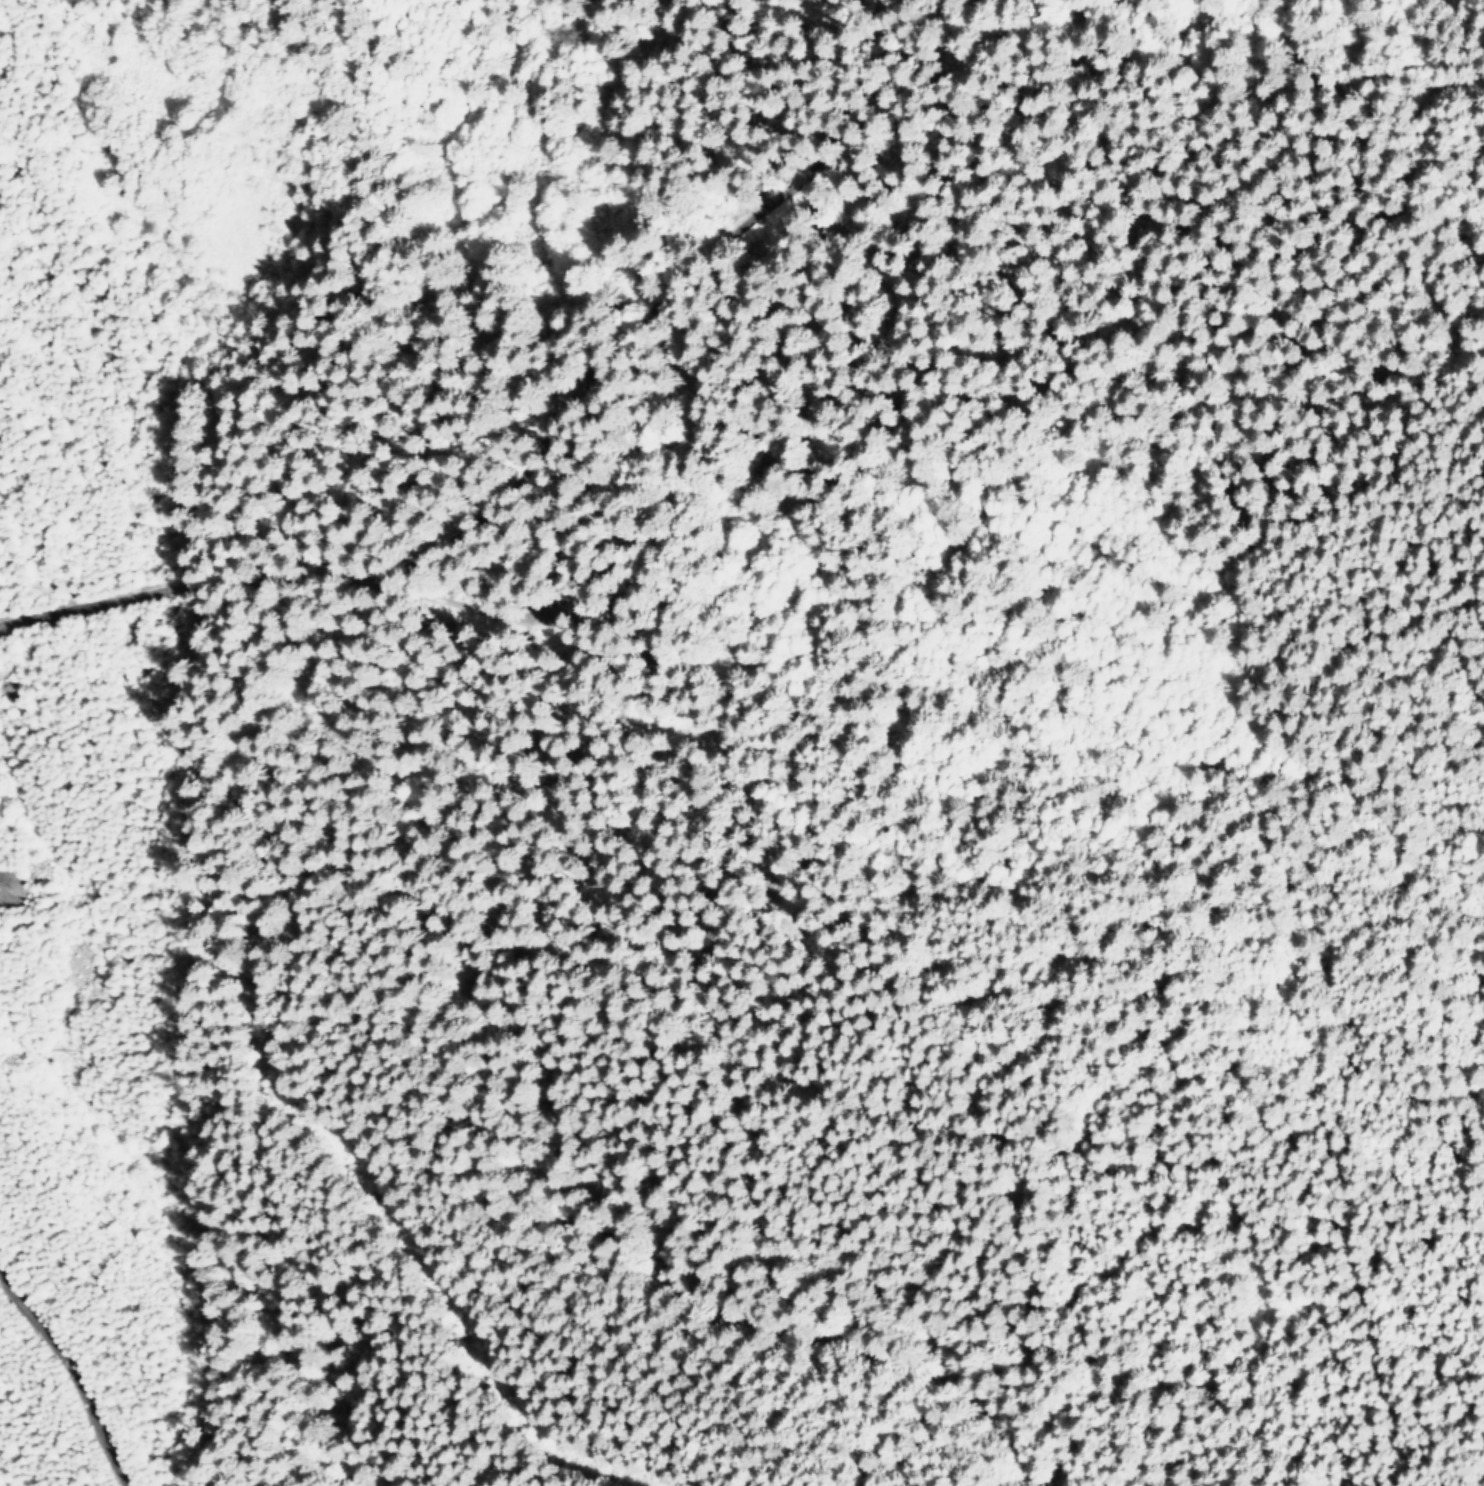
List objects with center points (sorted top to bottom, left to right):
road: (462, 414)
road: (572, 942)

